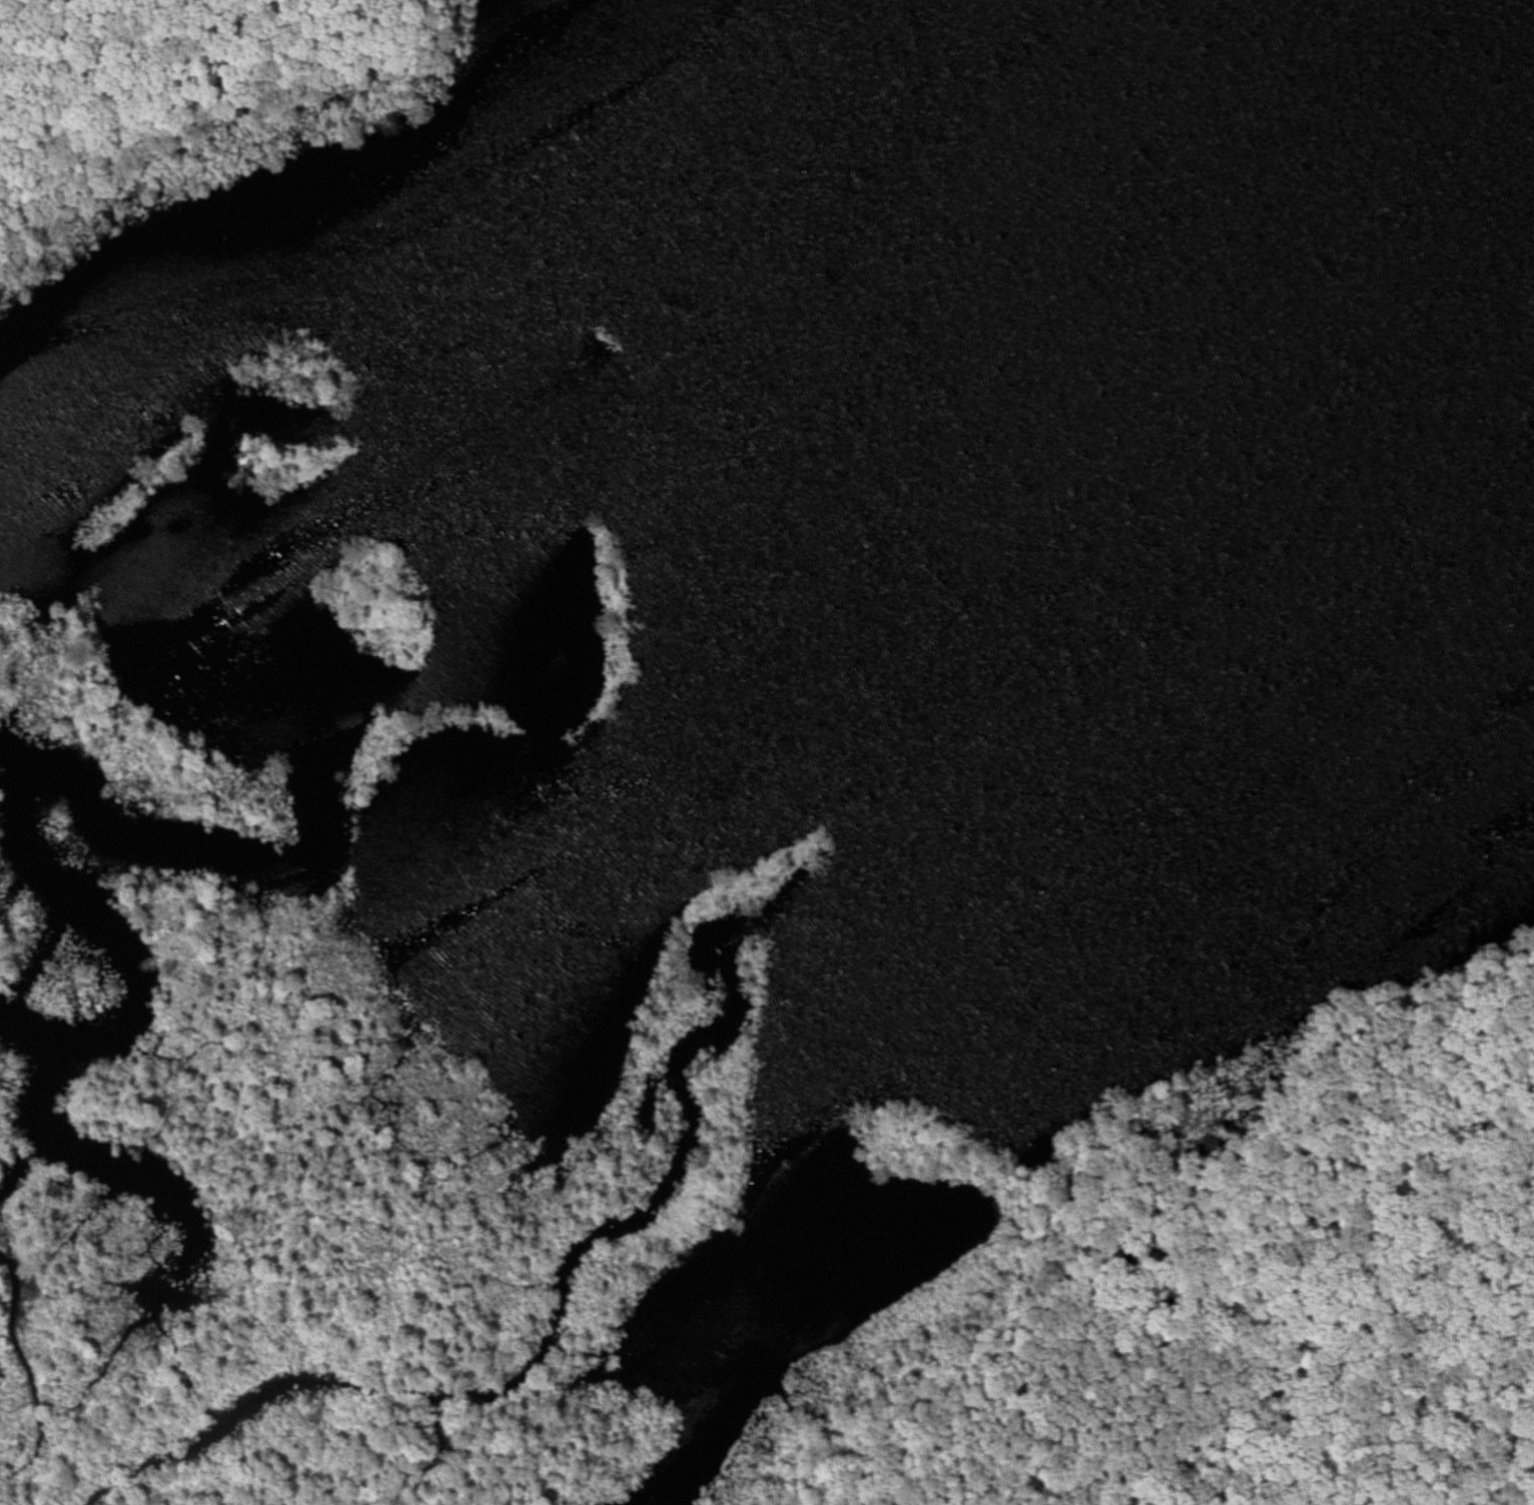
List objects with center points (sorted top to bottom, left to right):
river: (136, 953)
road: (971, 1421)

